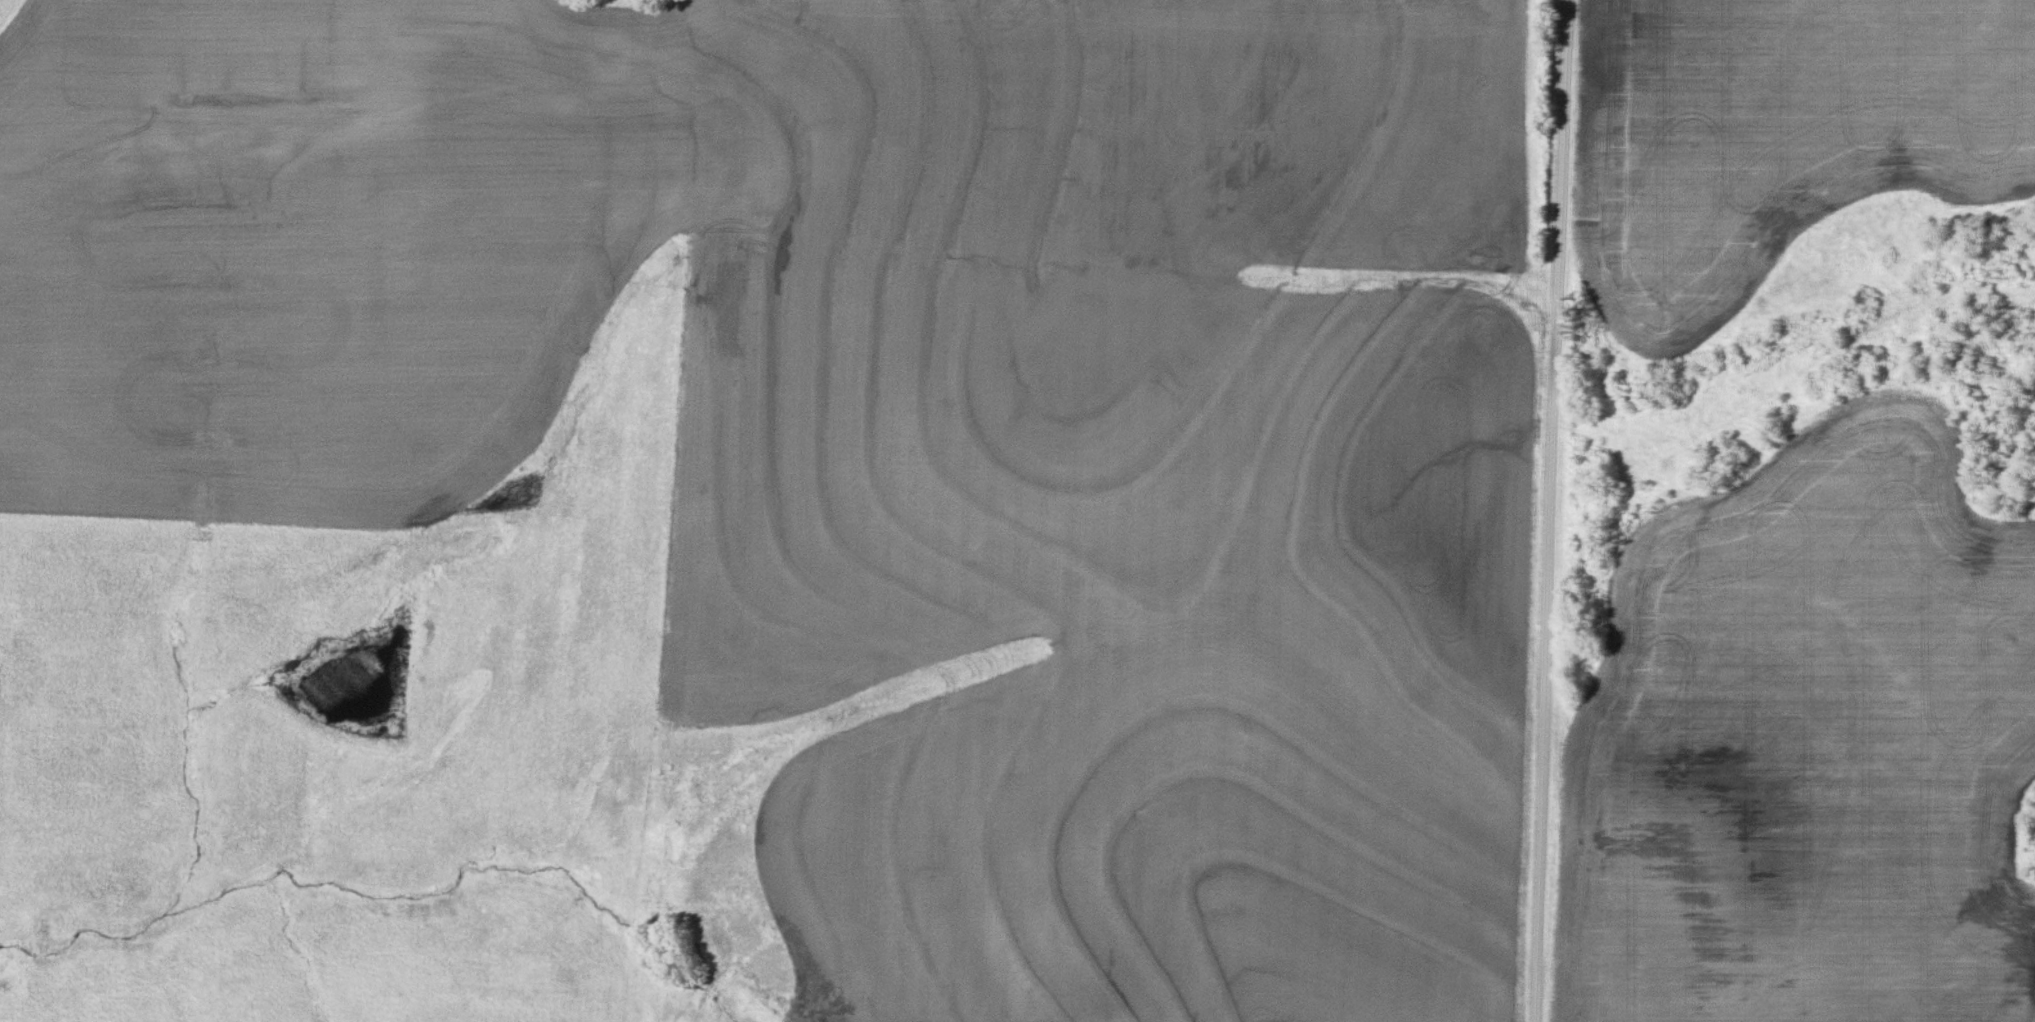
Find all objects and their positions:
crop: (1774, 136)
crop: (893, 426)
road: (1552, 511)
crop: (1808, 748)
road: (701, 1012)

